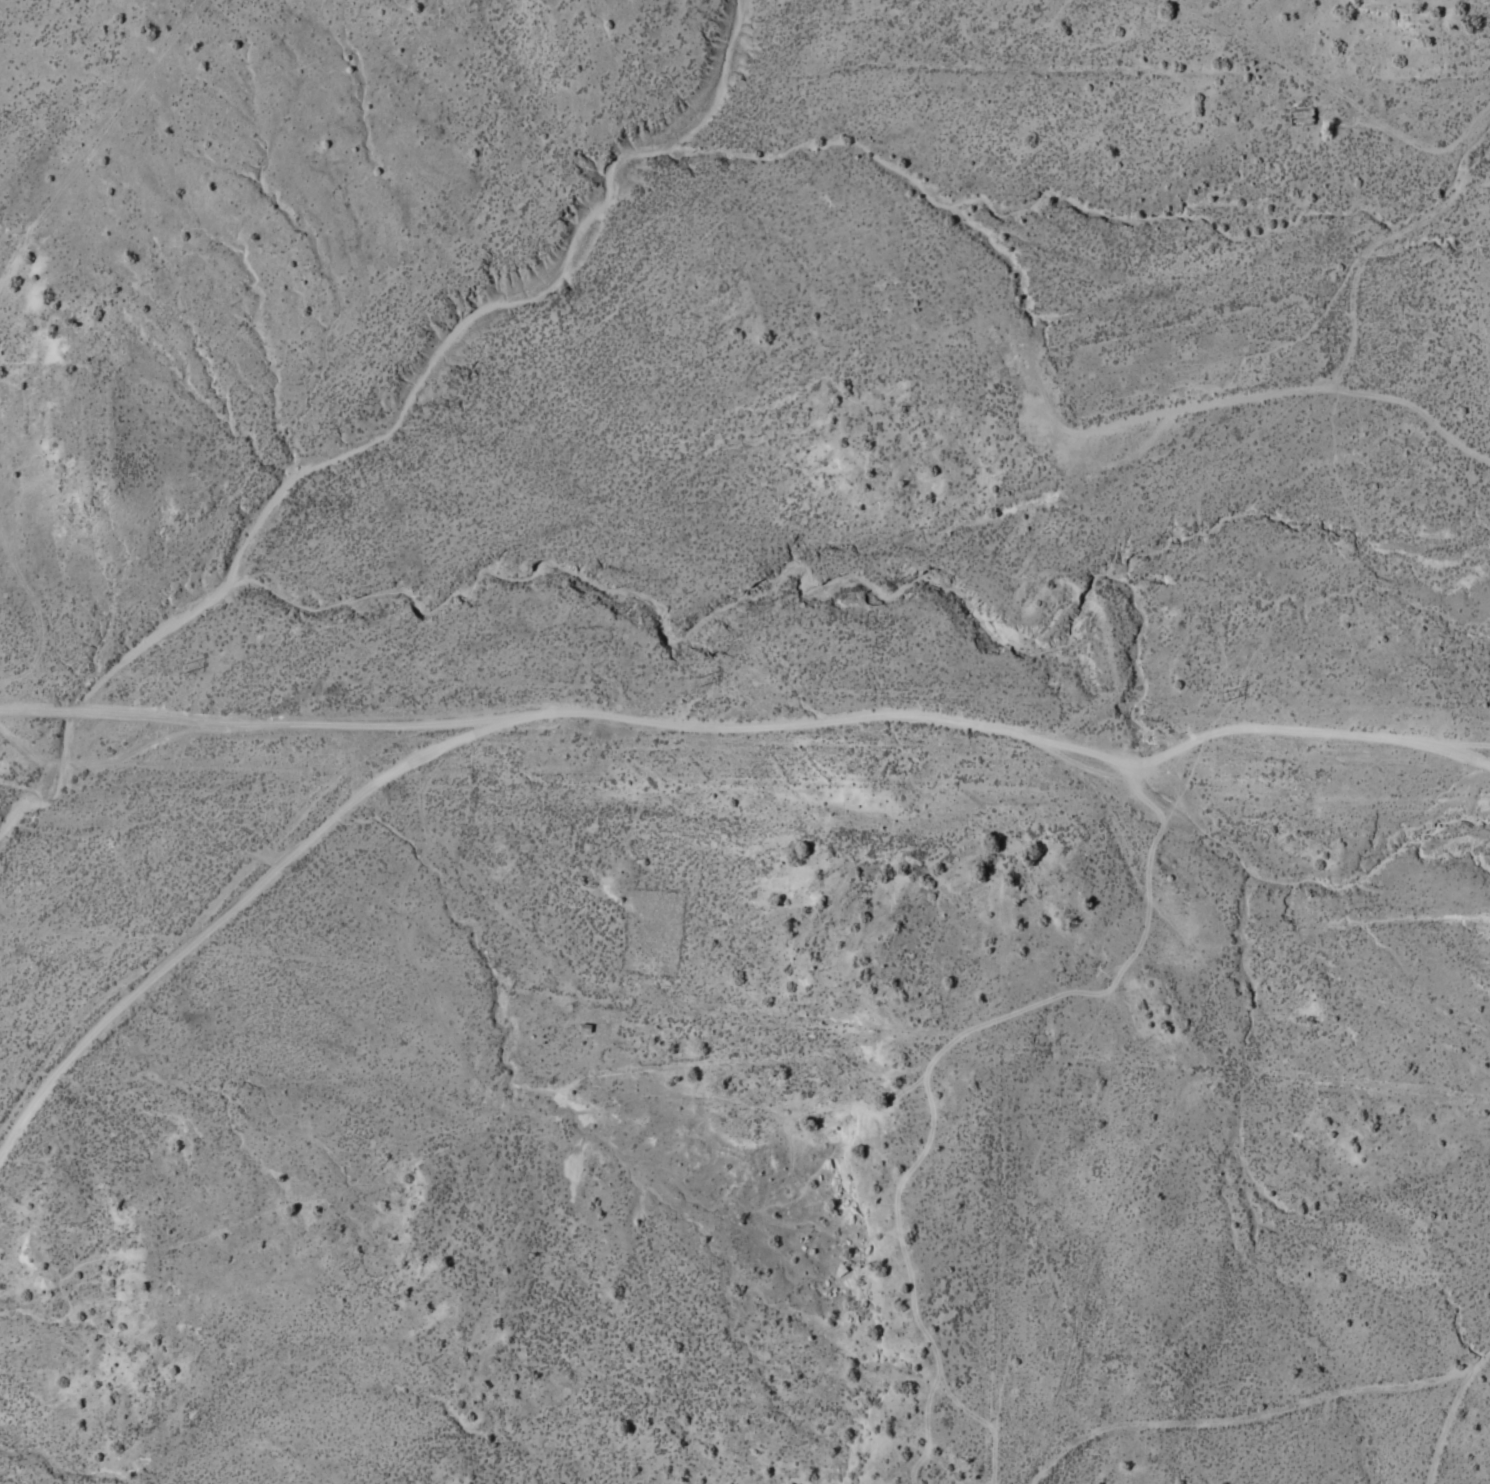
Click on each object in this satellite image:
power tower: (1228, 698)
road: (662, 710)

